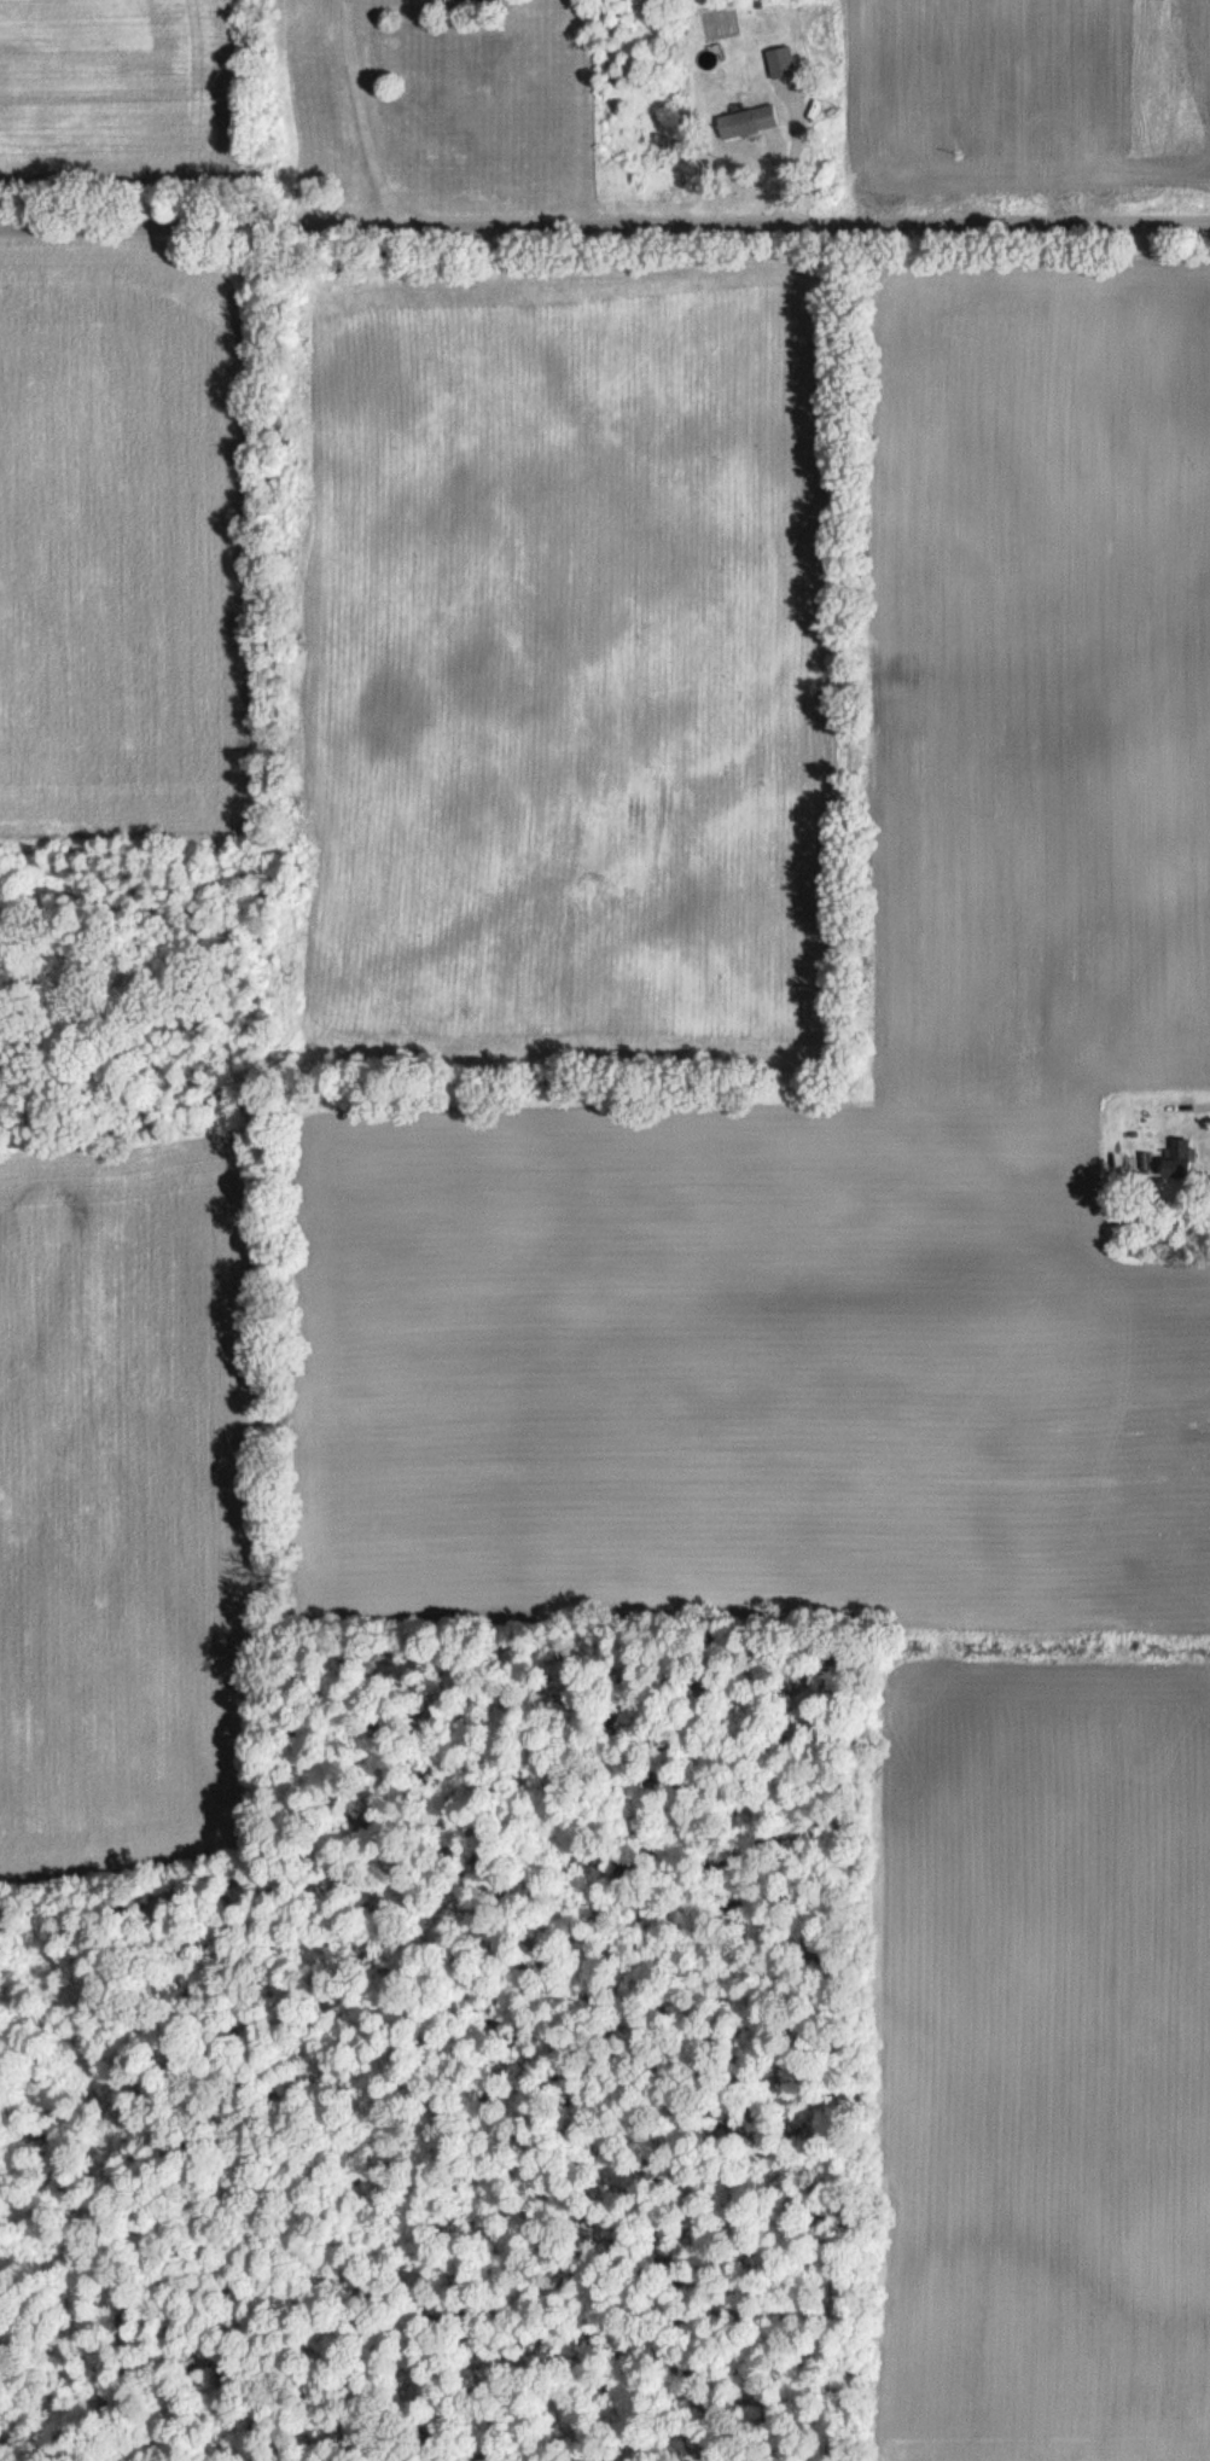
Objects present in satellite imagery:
road: (362, 116)
building: (745, 122)
road: (604, 223)
road: (1193, 1111)
building: (1176, 1157)

